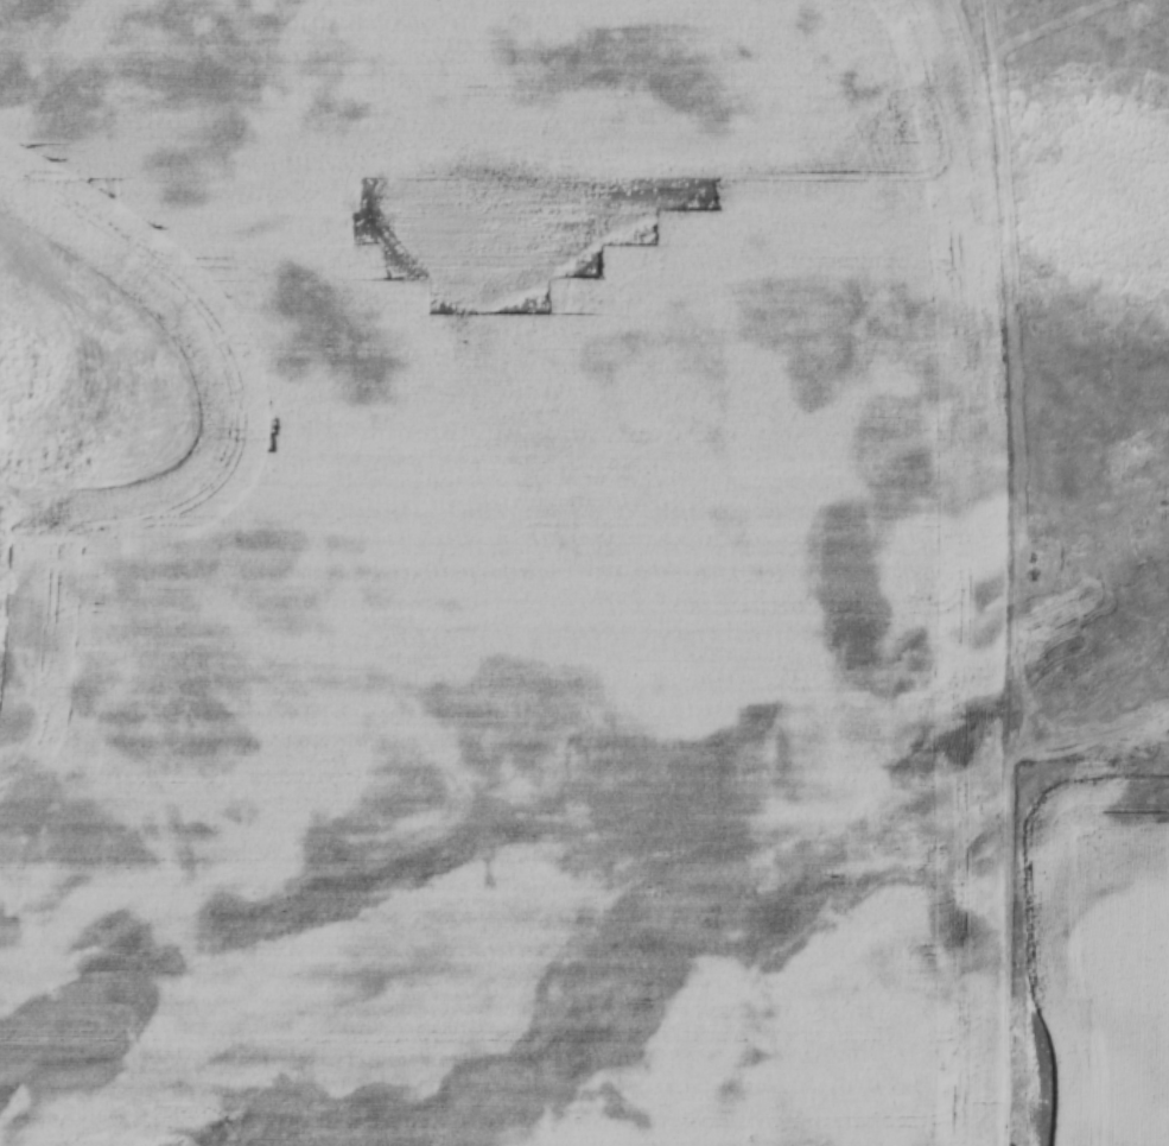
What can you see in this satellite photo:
building: (0, 672)

